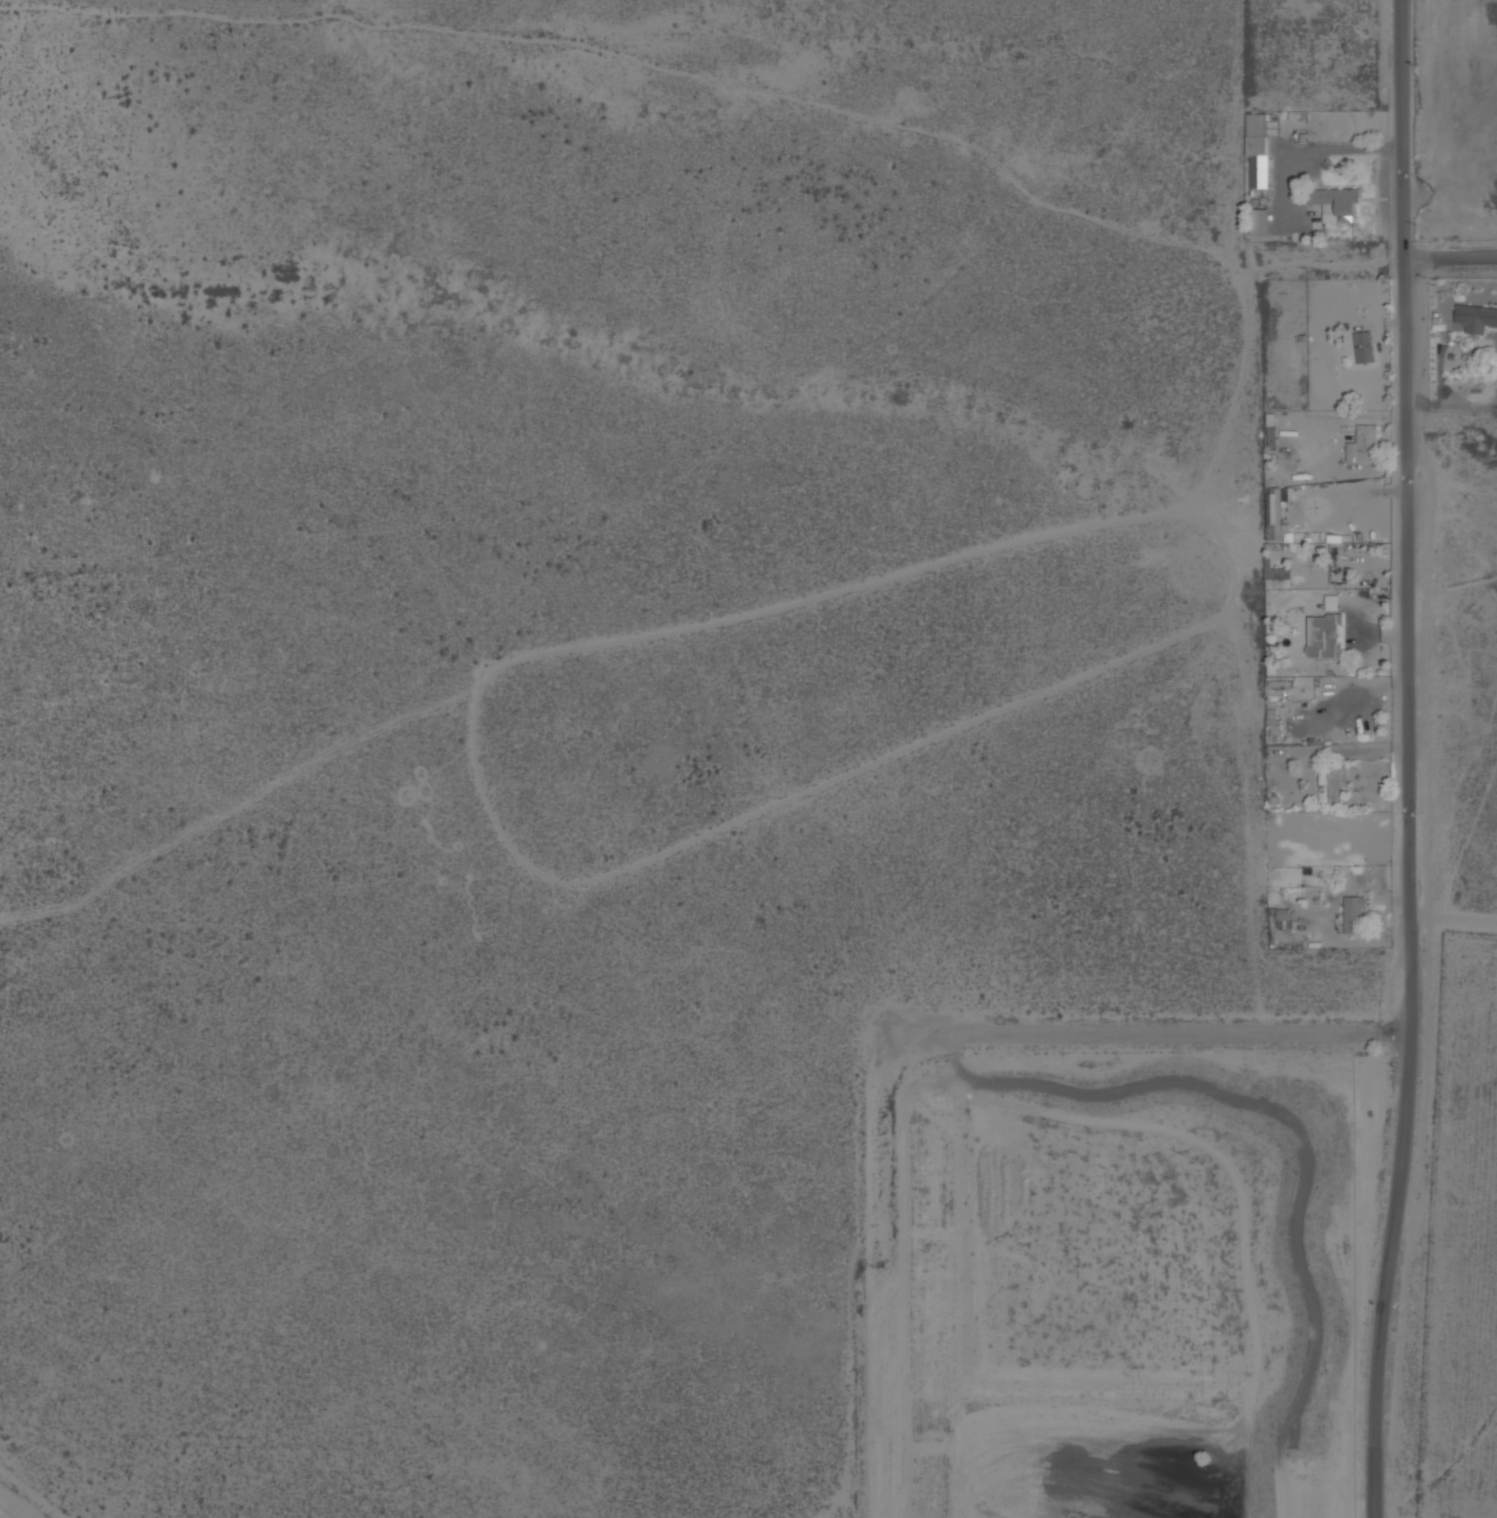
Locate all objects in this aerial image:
road: (1393, 12)
building: (1257, 149)
building: (1336, 203)
building: (1259, 221)
road: (1451, 253)
road: (1405, 305)
building: (1475, 317)
building: (1363, 346)
road: (1451, 402)
building: (1362, 445)
building: (1277, 494)
building: (1331, 602)
building: (1331, 783)
building: (1352, 914)
road: (1393, 1034)
road: (1410, 1053)
dam: (1302, 1161)

